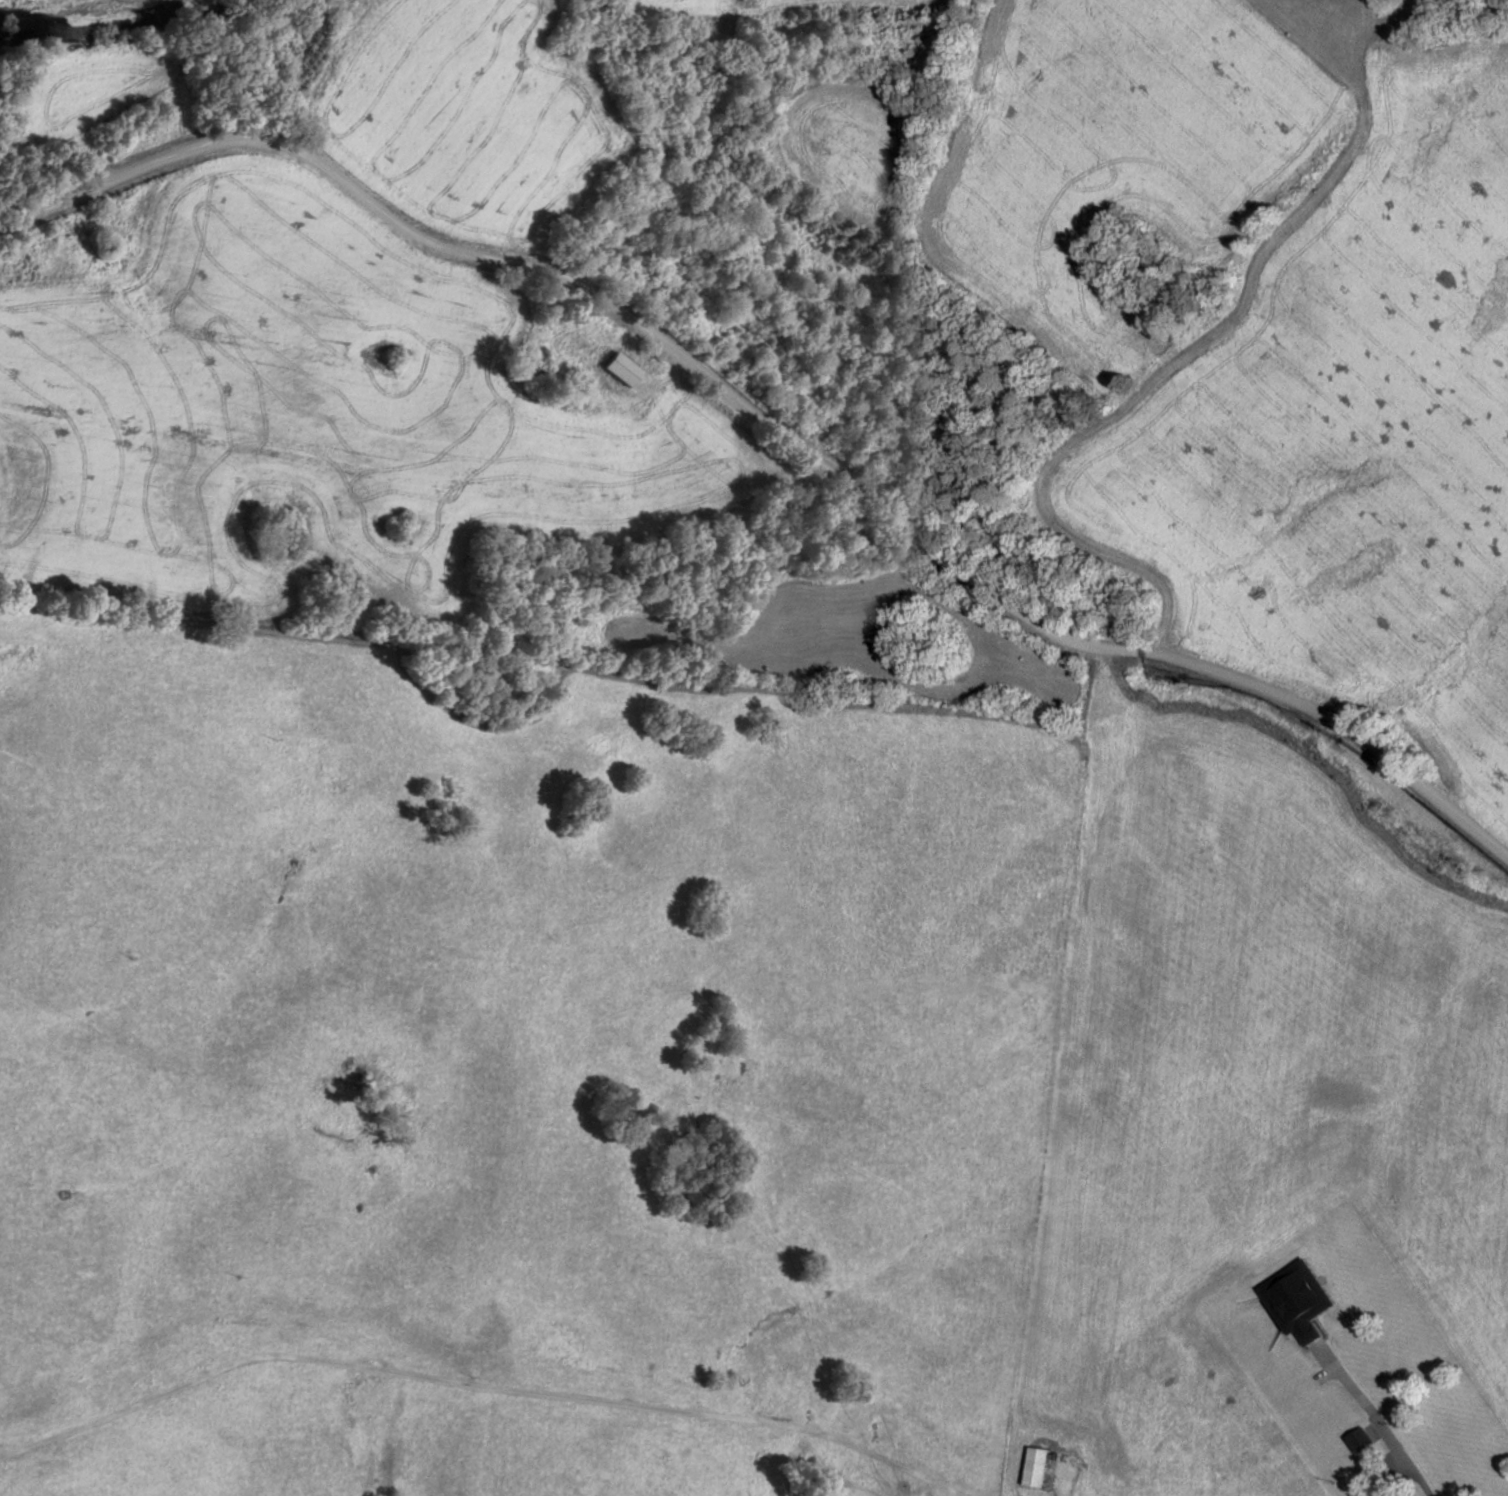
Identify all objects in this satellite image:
road: (764, 424)
building: (1347, 1388)
building: (1357, 1438)
building: (1034, 1464)

